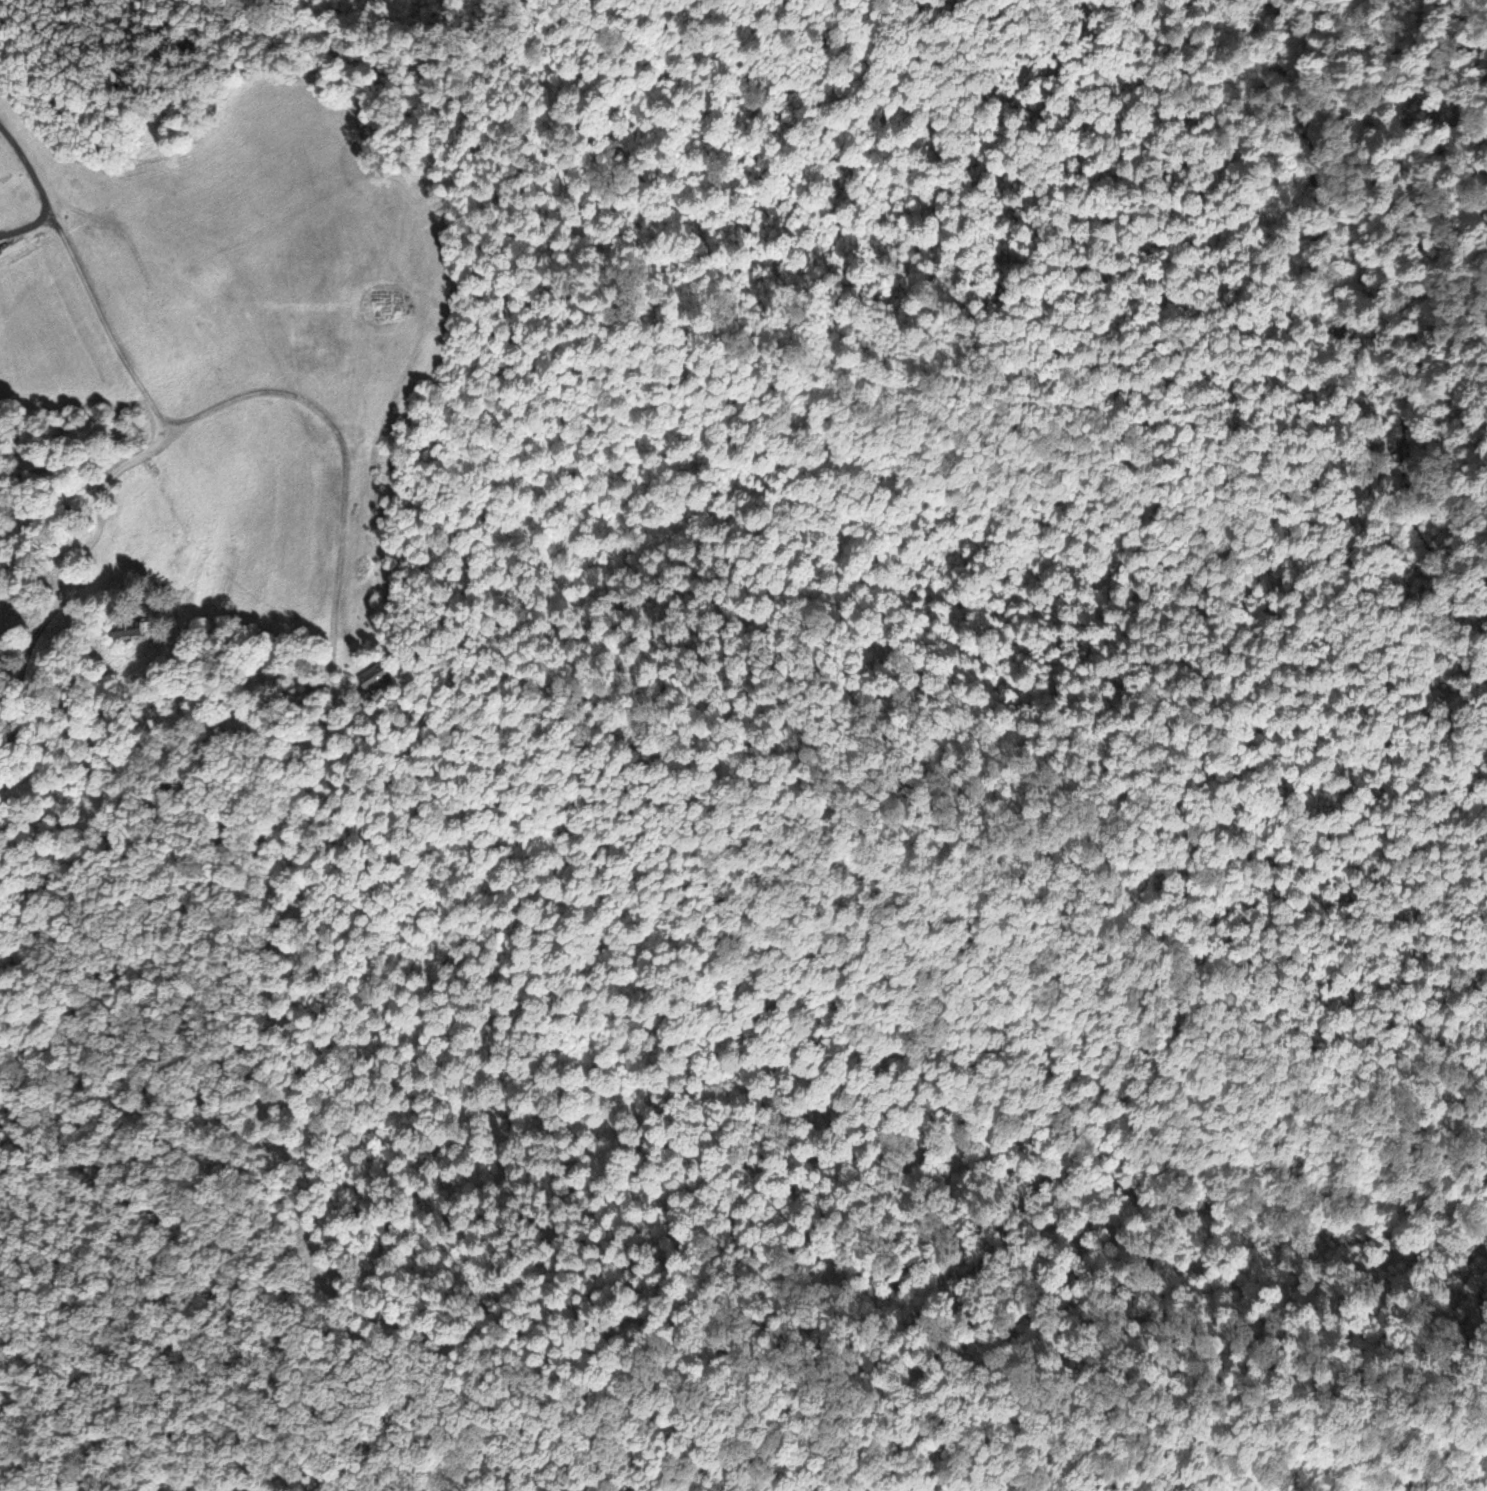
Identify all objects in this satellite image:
road: (211, 311)
building: (130, 629)

